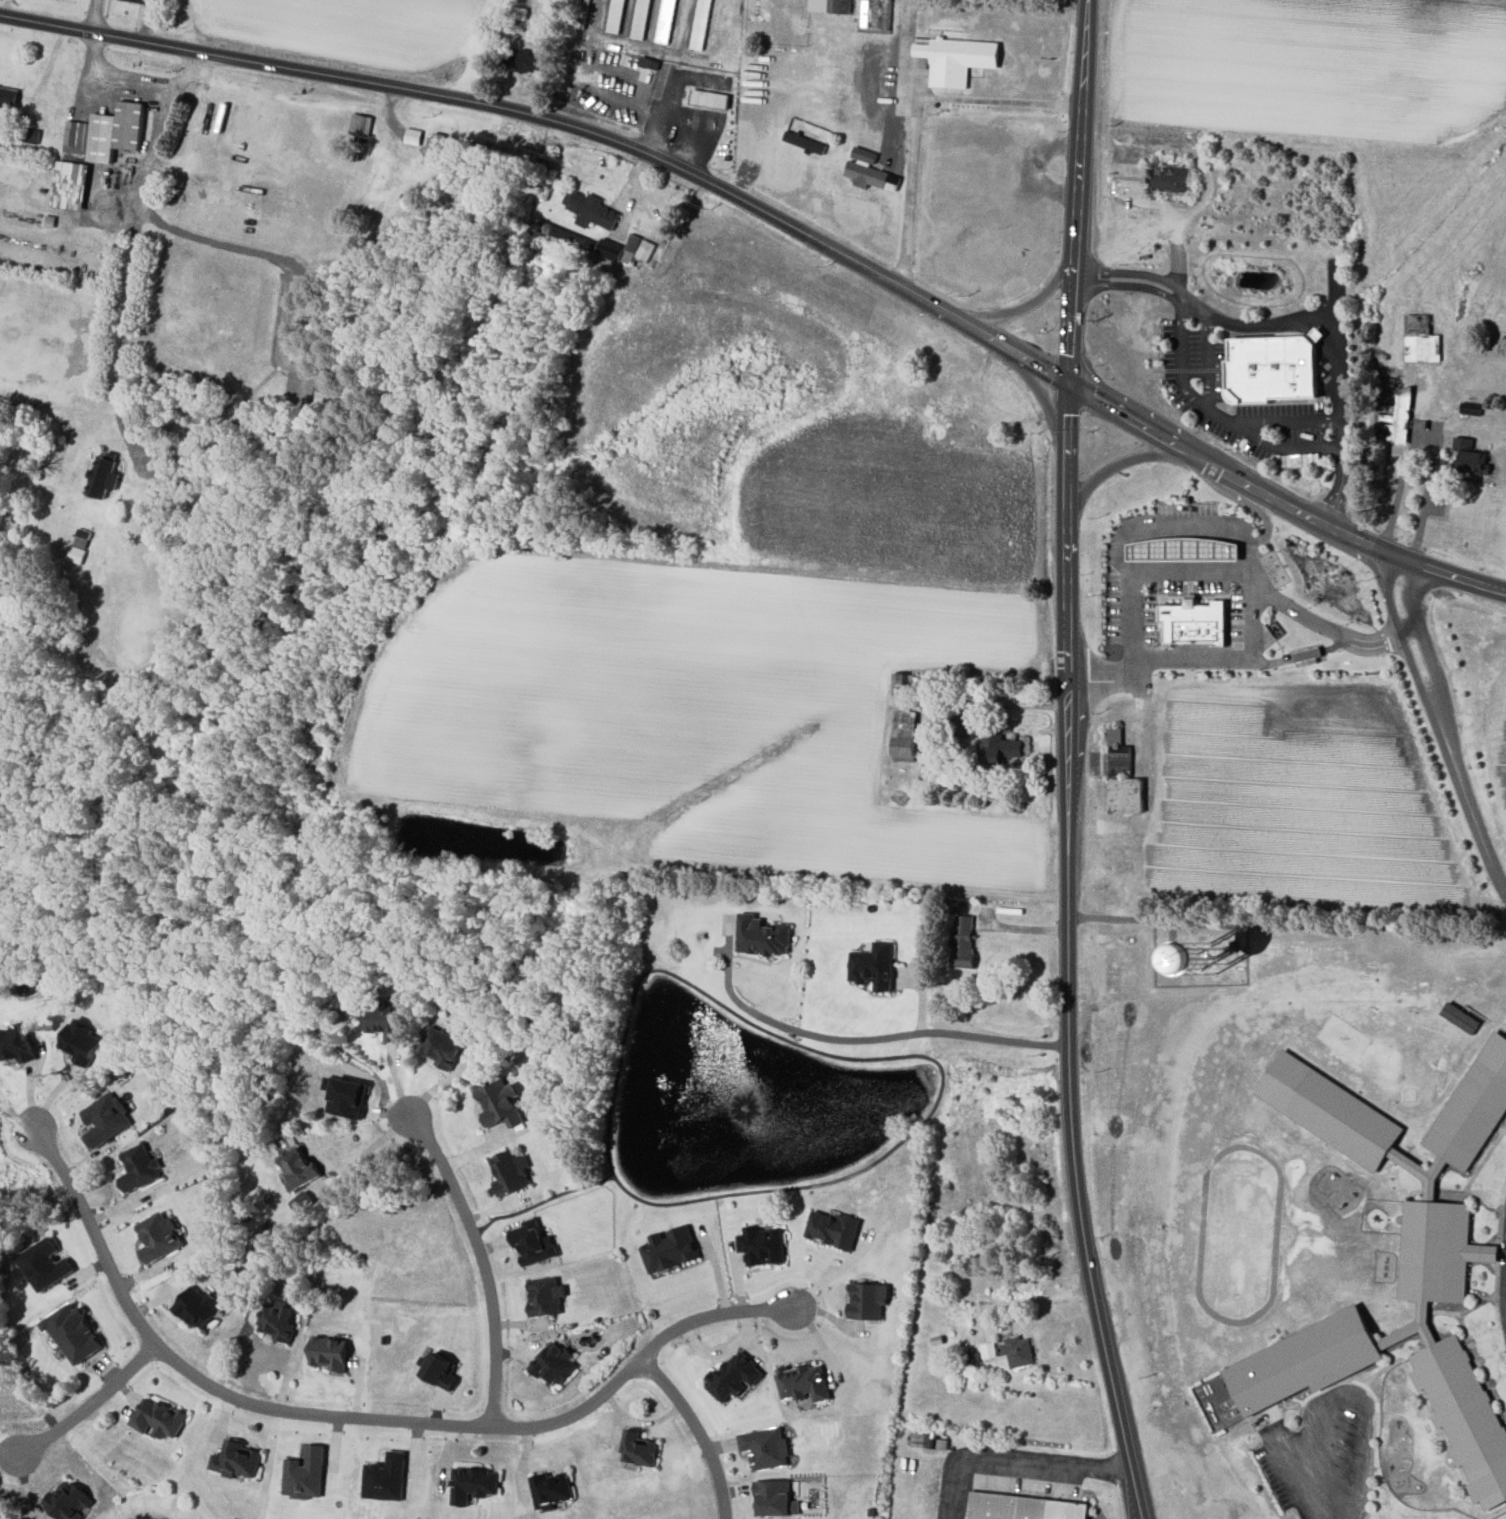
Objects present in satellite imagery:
building: (138, 1)
building: (830, 5)
road: (98, 16)
building: (616, 16)
building: (641, 19)
building: (667, 21)
building: (701, 24)
road: (620, 39)
road: (478, 48)
road: (910, 56)
building: (956, 59)
building: (527, 60)
road: (668, 78)
road: (133, 80)
building: (8, 97)
building: (710, 98)
road: (998, 101)
road: (560, 123)
road: (702, 131)
building: (106, 132)
building: (805, 142)
road: (155, 144)
building: (864, 154)
building: (867, 175)
building: (1172, 178)
building: (69, 184)
road: (1078, 190)
building: (591, 210)
building: (627, 249)
road: (1035, 301)
road: (1196, 306)
road: (291, 316)
road: (126, 320)
building: (1422, 340)
road: (1207, 360)
building: (1275, 368)
traffic signals: (1069, 382)
road: (1037, 391)
road: (1339, 393)
road: (1195, 400)
building: (1403, 414)
road: (1288, 419)
road: (1427, 439)
building: (1471, 457)
road: (1133, 459)
building: (103, 477)
road: (1280, 501)
road: (1266, 516)
road: (1203, 525)
building: (1185, 550)
road: (1188, 570)
building: (1197, 622)
road: (1317, 622)
road: (1403, 643)
road: (1427, 648)
road: (1302, 655)
building: (1310, 655)
road: (1010, 704)
building: (905, 736)
building: (1116, 737)
building: (999, 748)
building: (1128, 796)
road: (1472, 812)
road: (1129, 918)
road: (1023, 928)
building: (762, 935)
building: (964, 941)
road: (1068, 953)
building: (874, 965)
building: (1223, 969)
building: (1461, 1016)
building: (385, 1019)
road: (783, 1025)
road: (991, 1035)
building: (80, 1040)
building: (15, 1044)
building: (443, 1044)
building: (348, 1096)
building: (500, 1102)
building: (105, 1118)
road: (368, 1147)
building: (299, 1166)
building: (139, 1167)
building: (511, 1171)
building: (833, 1228)
building: (159, 1236)
building: (533, 1244)
building: (763, 1244)
building: (670, 1248)
road: (481, 1260)
building: (45, 1263)
road: (835, 1274)
building: (1434, 1281)
building: (546, 1295)
building: (868, 1299)
road: (1030, 1300)
building: (197, 1307)
road: (1505, 1316)
building: (277, 1319)
building: (74, 1332)
building: (988, 1349)
building: (1017, 1351)
building: (329, 1352)
building: (555, 1363)
building: (441, 1369)
building: (735, 1375)
building: (804, 1382)
road: (1341, 1392)
road: (89, 1404)
road: (358, 1416)
building: (158, 1417)
road: (698, 1430)
building: (765, 1447)
building: (639, 1449)
road: (1016, 1457)
building: (236, 1459)
building: (305, 1473)
building: (385, 1478)
building: (474, 1483)
building: (552, 1489)
building: (775, 1498)
building: (68, 1500)
building: (1024, 1507)

